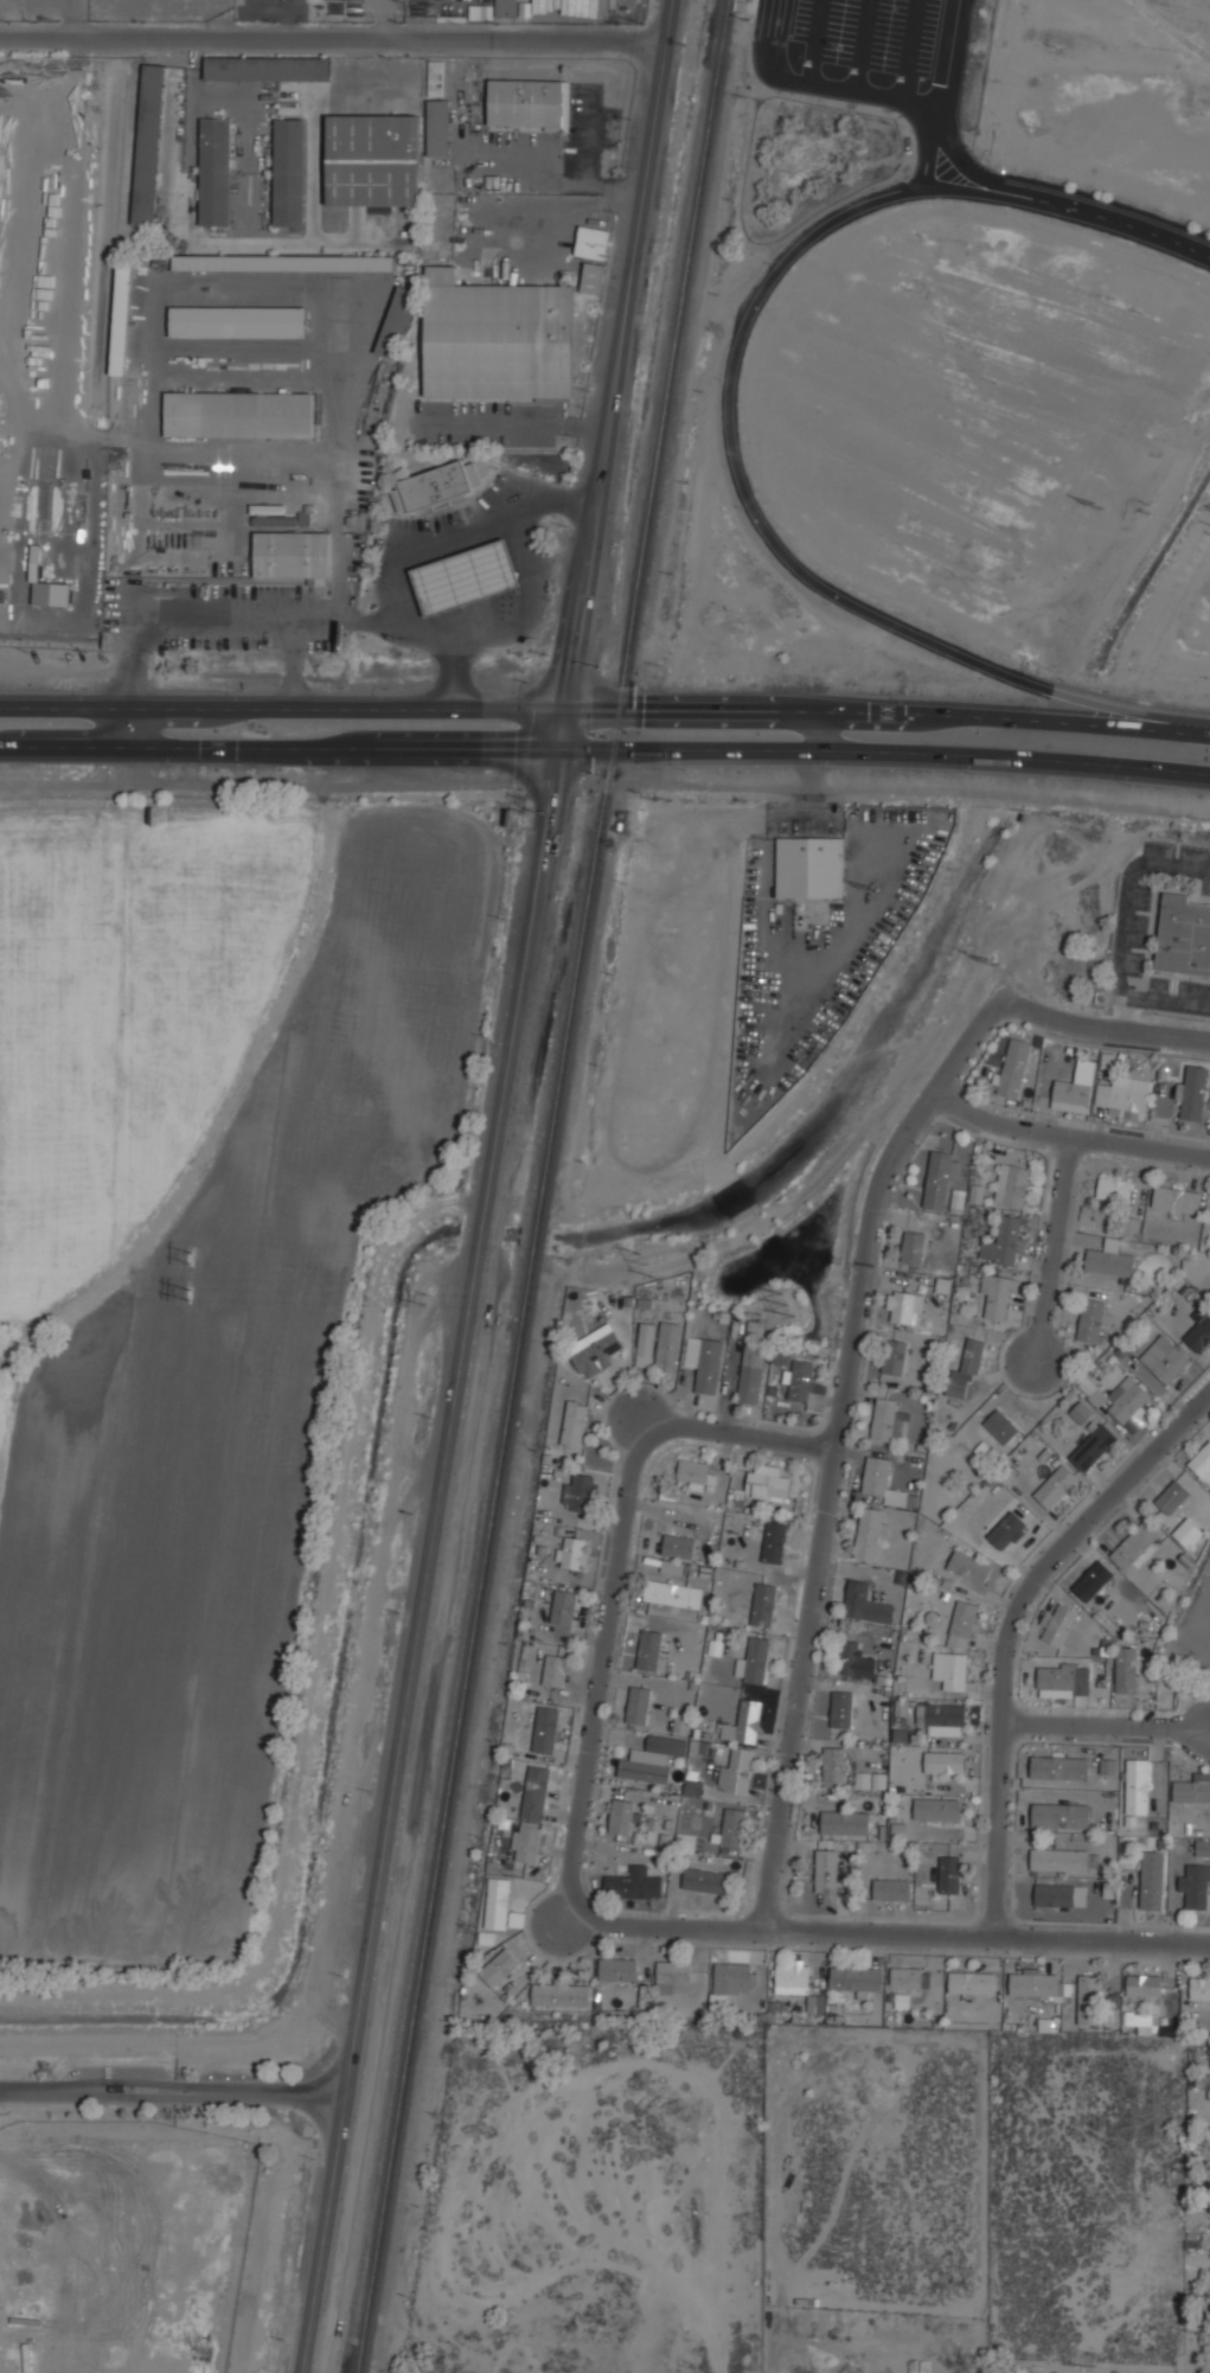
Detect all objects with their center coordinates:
building: (507, 7)
railway: (744, 9)
road: (283, 17)
road: (384, 19)
road: (811, 38)
road: (331, 39)
road: (857, 43)
road: (905, 47)
parking lot: (863, 50)
building: (268, 68)
road: (868, 89)
building: (530, 102)
building: (440, 128)
building: (149, 143)
road: (930, 143)
building: (374, 160)
building: (216, 171)
building: (290, 172)
road: (1067, 213)
building: (594, 242)
building: (286, 262)
building: (594, 277)
building: (122, 318)
building: (238, 321)
building: (399, 322)
building: (498, 337)
road: (615, 372)
building: (241, 414)
building: (437, 488)
power tower: (1129, 503)
road: (775, 551)
building: (293, 554)
building: (467, 577)
road: (129, 685)
road: (310, 709)
traffic signals: (569, 711)
road: (915, 711)
road: (819, 731)
road: (282, 746)
traffic signals: (564, 746)
road: (589, 747)
road: (913, 751)
road: (604, 783)
building: (812, 866)
power tower: (865, 890)
road: (1125, 908)
building: (1184, 935)
power tower: (990, 961)
road: (1166, 1000)
road: (1097, 1022)
road: (963, 1032)
building: (1016, 1068)
building: (1076, 1090)
building: (1193, 1093)
building: (1123, 1099)
road: (1063, 1140)
building: (939, 1179)
building: (1014, 1183)
railway: (545, 1186)
building: (1115, 1189)
building: (978, 1192)
building: (1178, 1197)
building: (958, 1200)
building: (1131, 1226)
building: (1005, 1241)
building: (914, 1246)
power tower: (632, 1253)
road: (1054, 1253)
power tower: (179, 1258)
building: (1112, 1258)
power tower: (642, 1280)
building: (999, 1294)
power tower: (178, 1300)
building: (905, 1305)
power tower: (424, 1306)
crop: (196, 1316)
building: (1091, 1319)
building: (1199, 1335)
building: (646, 1344)
building: (667, 1347)
building: (595, 1350)
building: (895, 1356)
building: (781, 1357)
building: (704, 1362)
building: (1172, 1365)
building: (967, 1370)
building: (750, 1375)
building: (799, 1380)
building: (1122, 1401)
building: (1082, 1413)
building: (890, 1420)
building: (574, 1424)
building: (1003, 1425)
building: (1095, 1446)
building: (1202, 1463)
building: (698, 1472)
building: (769, 1482)
building: (882, 1482)
building: (1057, 1486)
building: (580, 1492)
building: (1172, 1496)
building: (736, 1498)
road: (827, 1499)
building: (1009, 1530)
building: (871, 1533)
building: (1187, 1533)
building: (775, 1543)
building: (1134, 1544)
building: (679, 1546)
building: (572, 1553)
building: (896, 1558)
road: (430, 1559)
building: (672, 1567)
building: (971, 1567)
road: (615, 1572)
road: (440, 1576)
building: (1093, 1580)
building: (674, 1593)
building: (866, 1603)
building: (766, 1604)
building: (563, 1607)
building: (963, 1623)
building: (1061, 1626)
road: (1013, 1627)
building: (651, 1649)
building: (849, 1656)
building: (755, 1659)
building: (556, 1669)
building: (953, 1669)
building: (1126, 1670)
building: (1063, 1681)
building: (639, 1704)
building: (843, 1708)
building: (942, 1714)
building: (683, 1720)
building: (749, 1720)
road: (1107, 1725)
building: (545, 1729)
building: (668, 1744)
building: (698, 1746)
building: (946, 1761)
building: (834, 1766)
building: (1108, 1766)
building: (1059, 1767)
building: (645, 1770)
building: (738, 1770)
building: (878, 1780)
building: (1137, 1786)
building: (1192, 1789)
building: (536, 1793)
building: (937, 1809)
building: (622, 1815)
building: (1059, 1815)
building: (845, 1822)
building: (734, 1828)
building: (526, 1842)
building: (1202, 1847)
building: (1059, 1860)
building: (827, 1872)
building: (950, 1874)
building: (708, 1880)
building: (1152, 1880)
building: (634, 1886)
building: (1196, 1886)
building: (894, 1891)
building: (1055, 1895)
building: (498, 1904)
building: (517, 1919)
road: (886, 1933)
building: (498, 1969)
building: (617, 1969)
building: (671, 1975)
building: (732, 1977)
building: (793, 1978)
building: (856, 1978)
building: (910, 1978)
building: (971, 1983)
building: (1033, 1983)
building: (1144, 1984)
building: (1199, 1988)
building: (561, 1995)
building: (1088, 2000)
building: (1142, 2022)
building: (1199, 2080)
road: (172, 2094)

